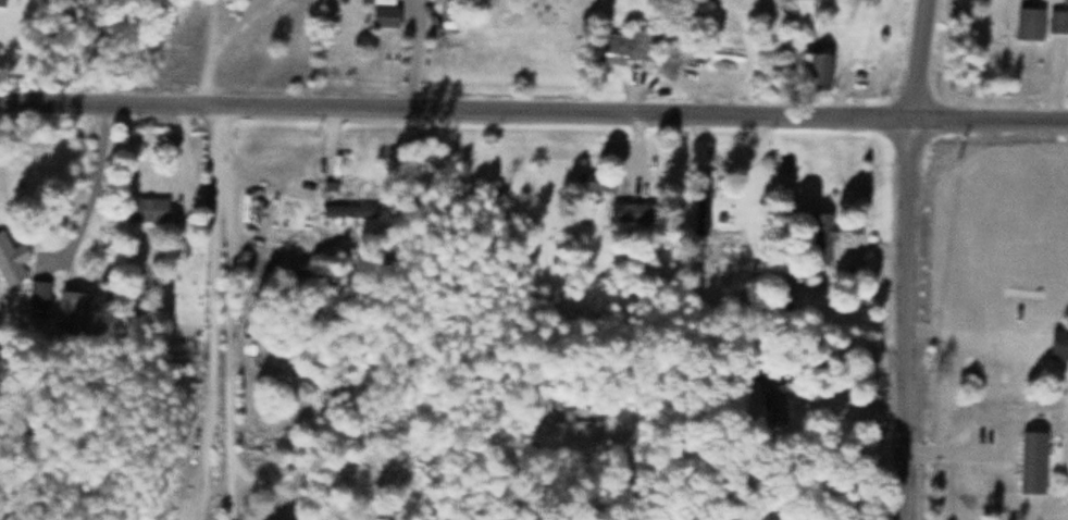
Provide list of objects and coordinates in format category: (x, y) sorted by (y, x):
building: (385, 14)
building: (1058, 21)
building: (1029, 22)
building: (630, 42)
road: (213, 50)
road: (919, 60)
building: (817, 67)
road: (16, 99)
road: (231, 103)
road: (748, 115)
building: (595, 181)
road: (90, 199)
building: (701, 201)
building: (145, 208)
building: (347, 210)
building: (629, 210)
building: (819, 237)
building: (10, 259)
road: (71, 270)
building: (38, 290)
building: (67, 310)
road: (909, 319)
building: (1058, 342)
building: (771, 396)
building: (1033, 400)
building: (568, 414)

